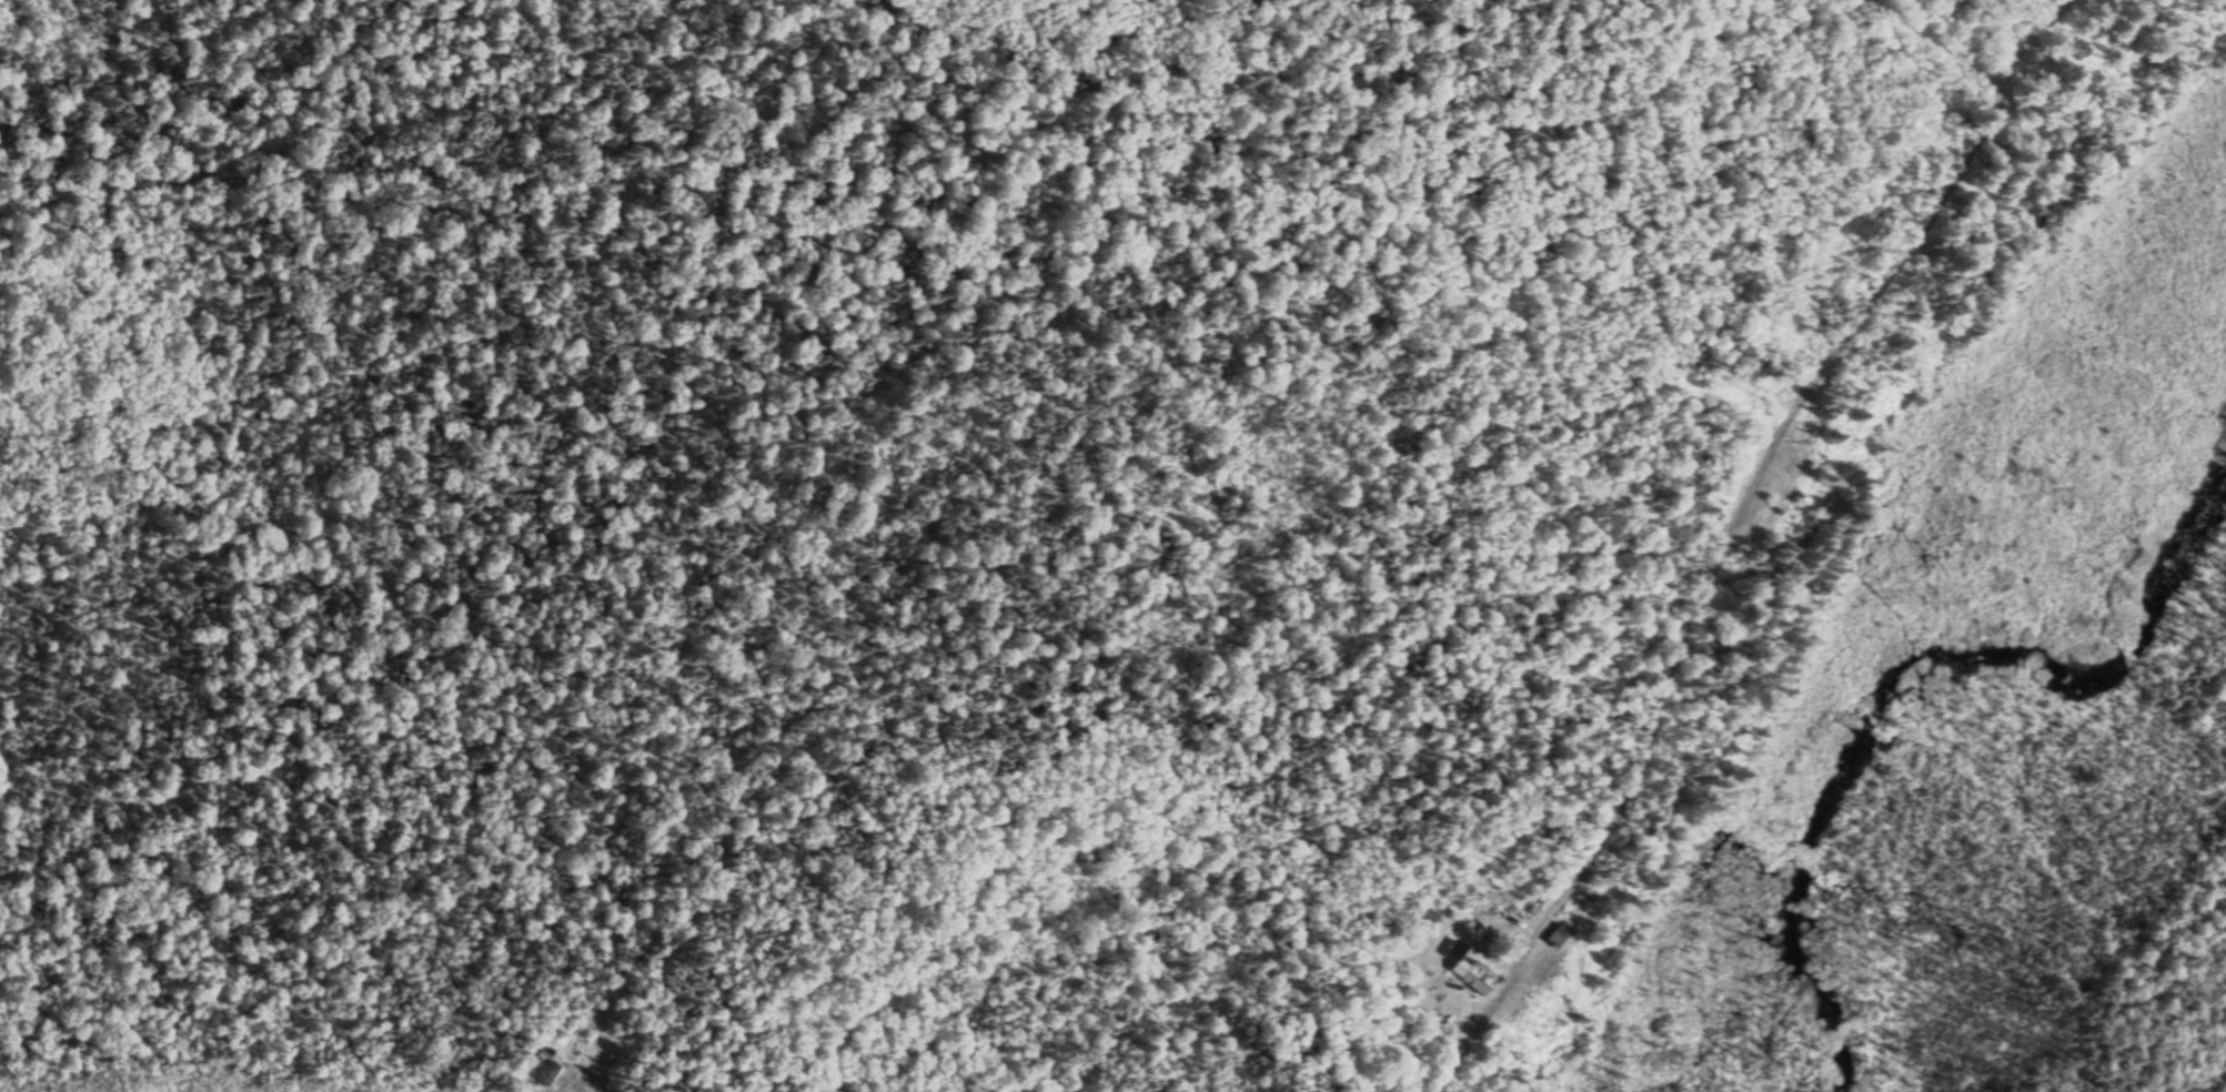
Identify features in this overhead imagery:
road: (1714, 538)
road: (659, 1089)

